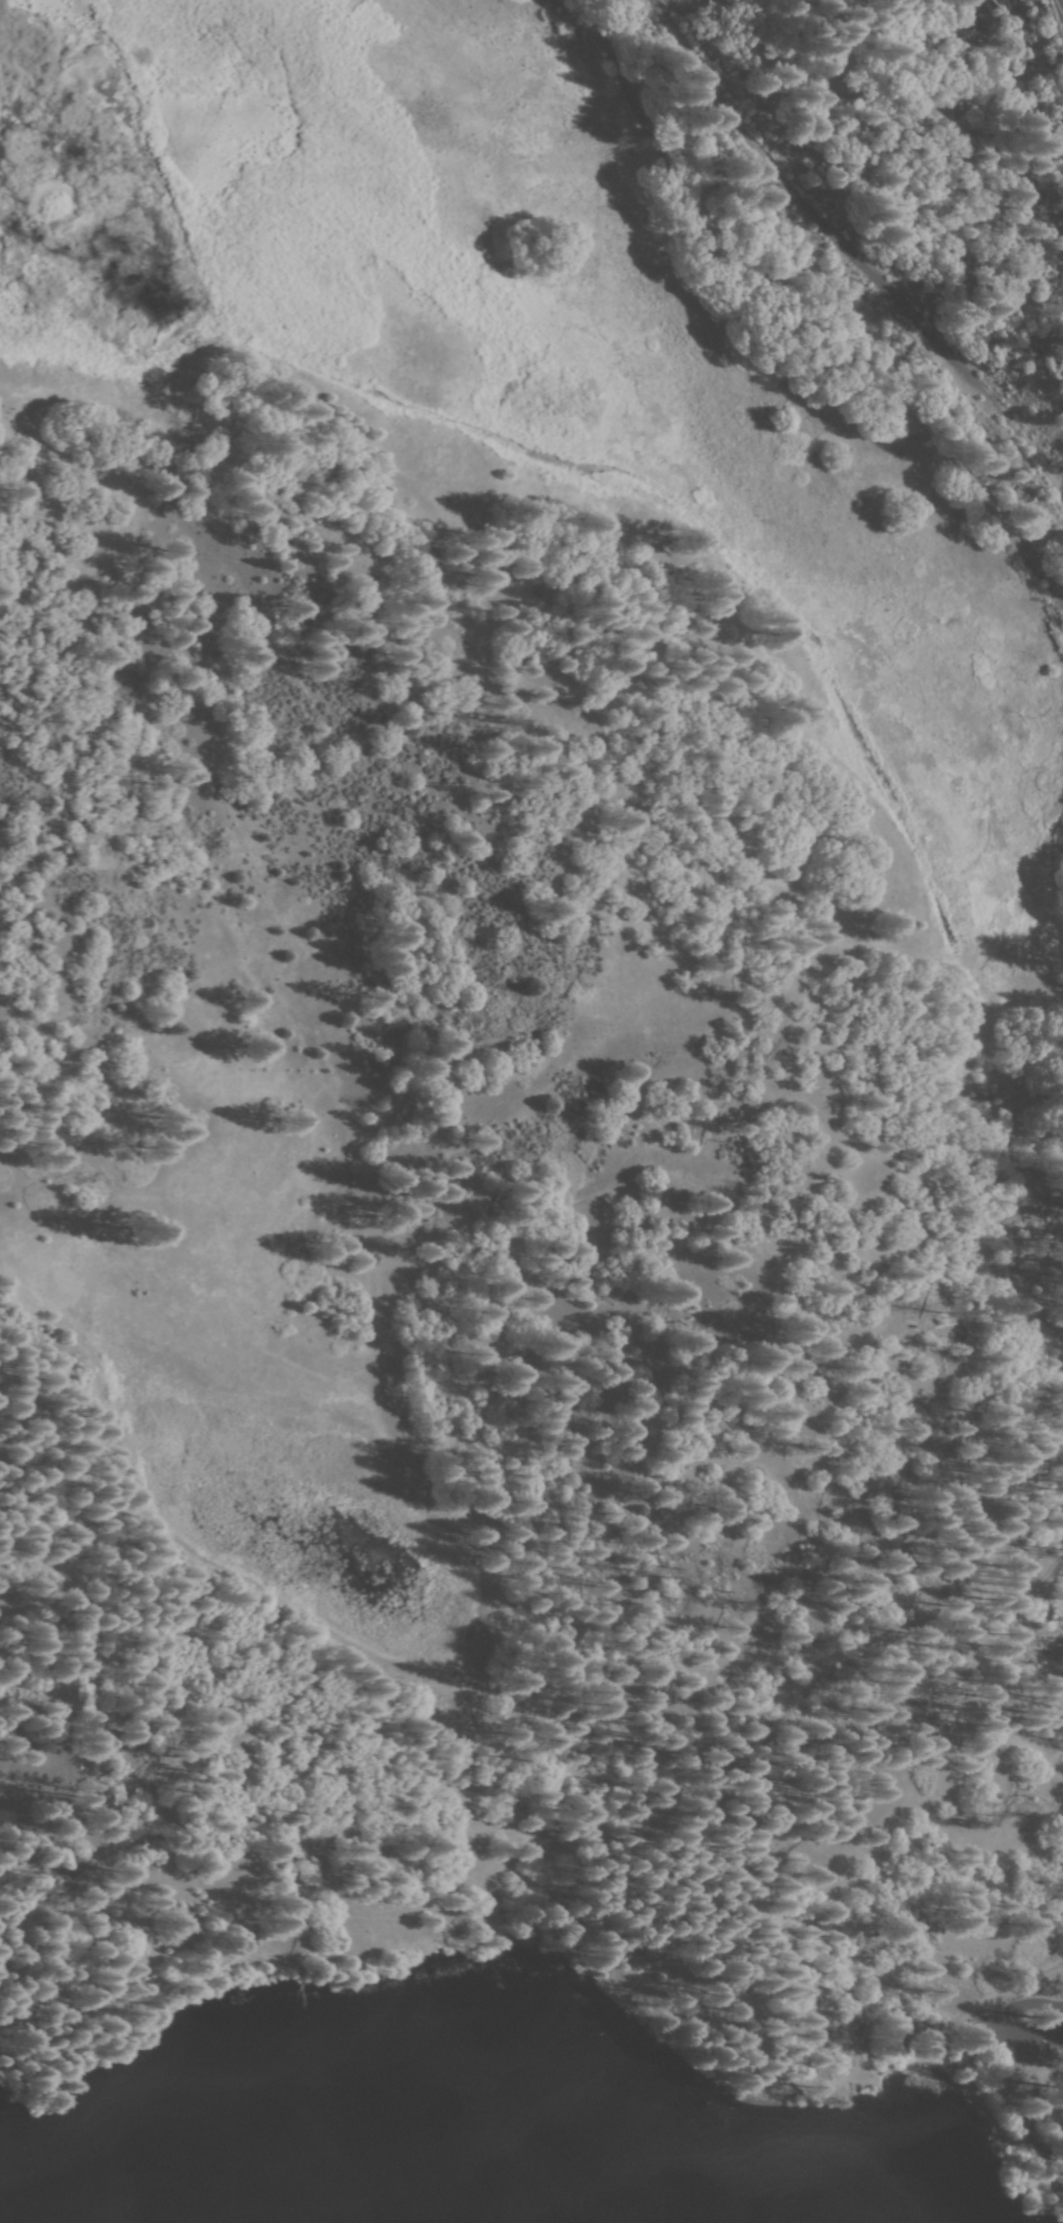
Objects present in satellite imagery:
parking lot: (1027, 2037)

